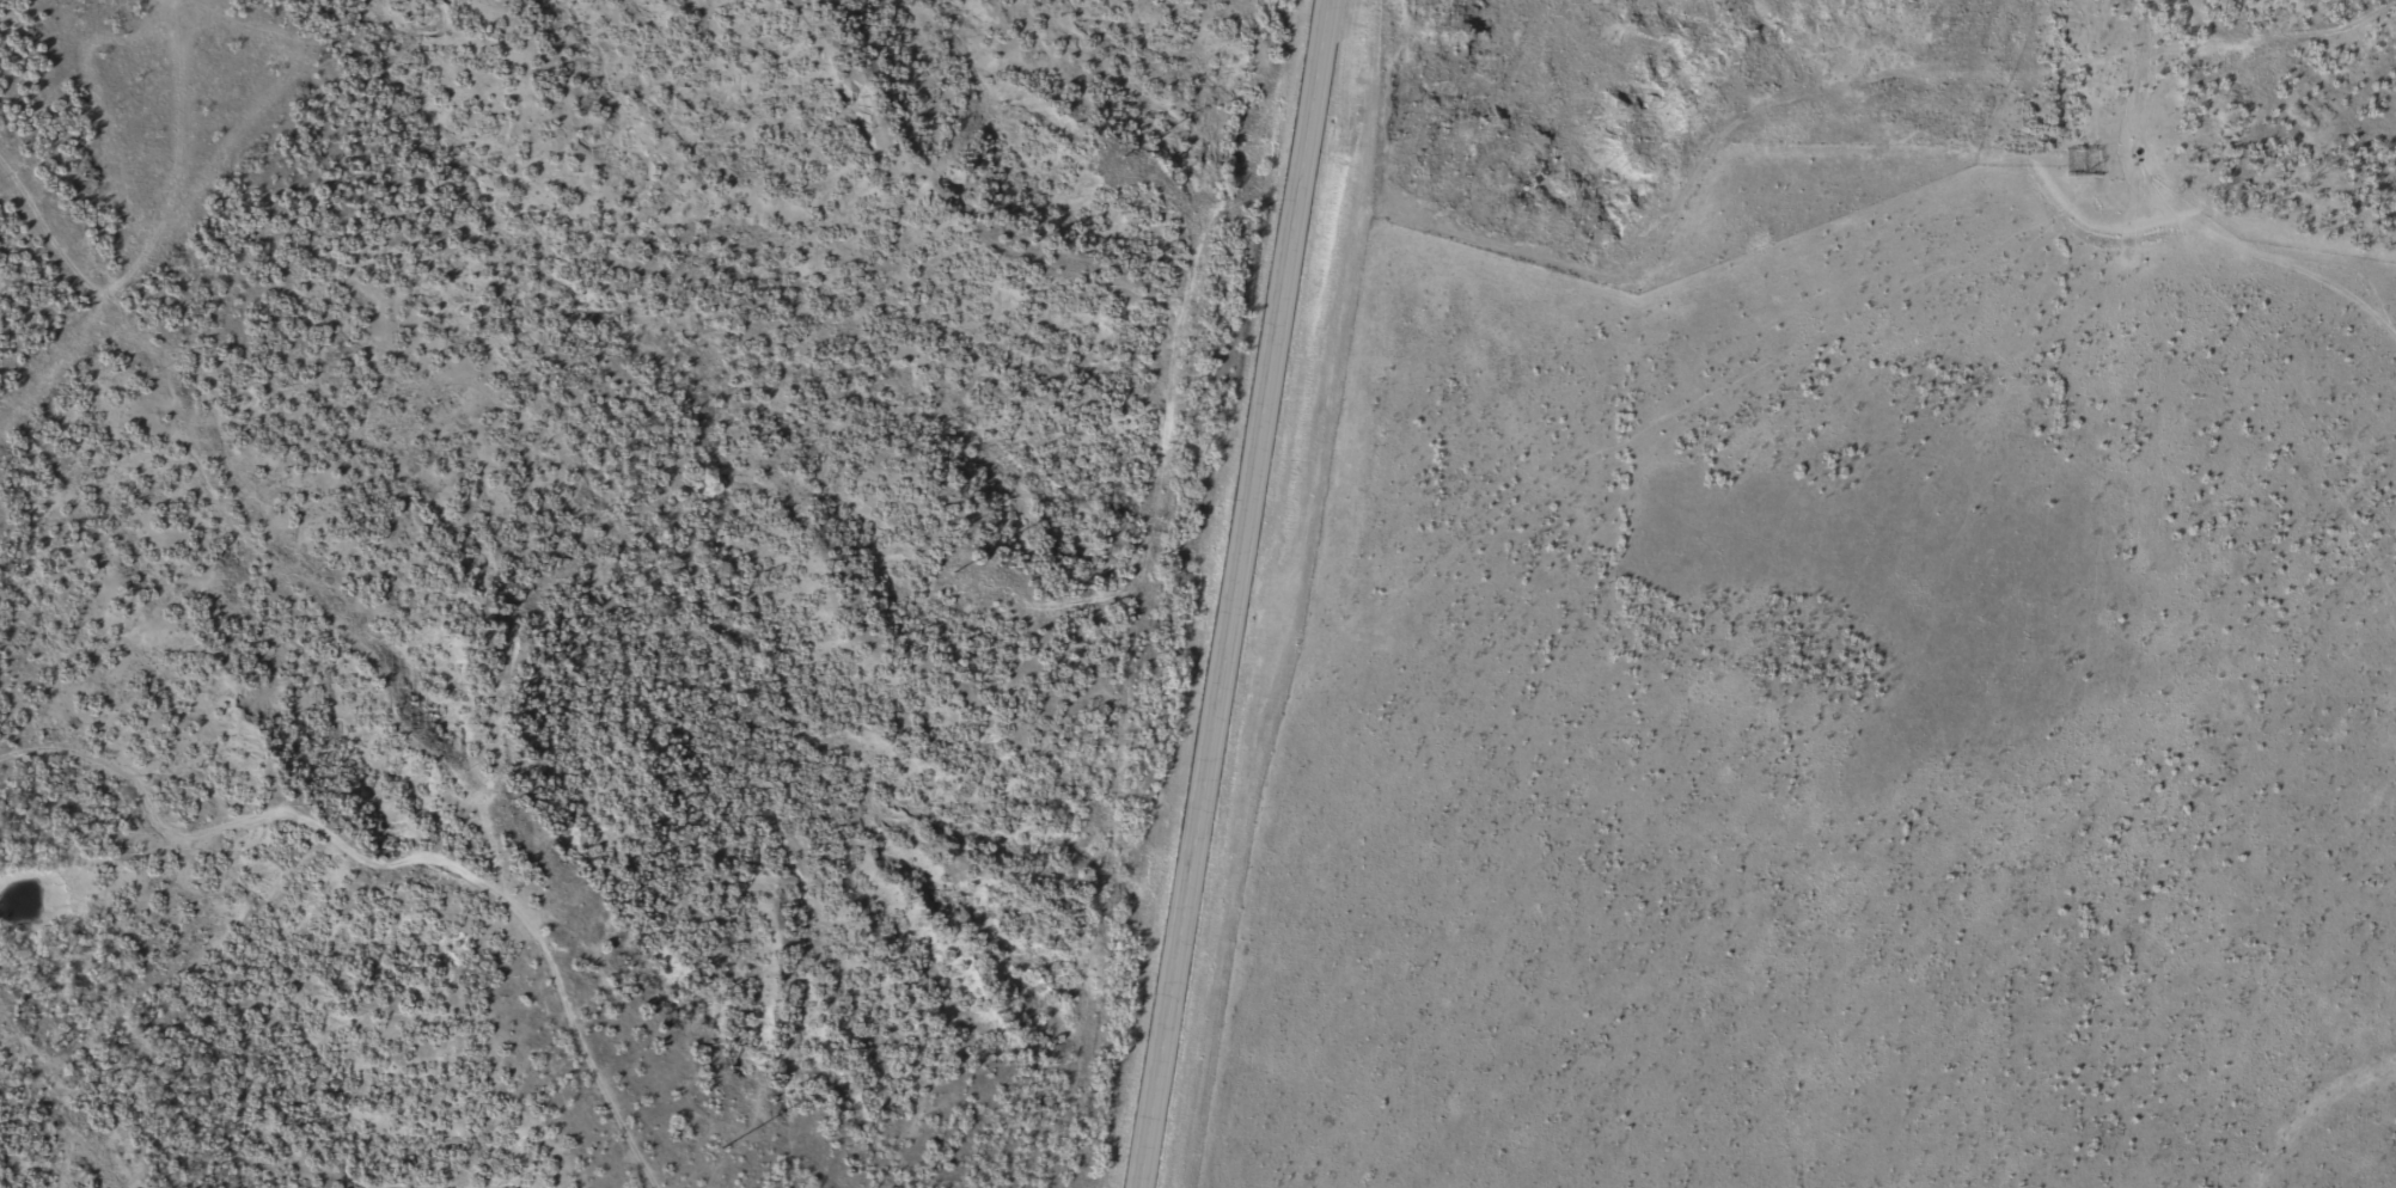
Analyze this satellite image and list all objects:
road: (1829, 128)
power tower: (1119, 163)
road: (1343, 547)
power tower: (956, 567)
road: (1241, 594)
power tower: (720, 1157)

